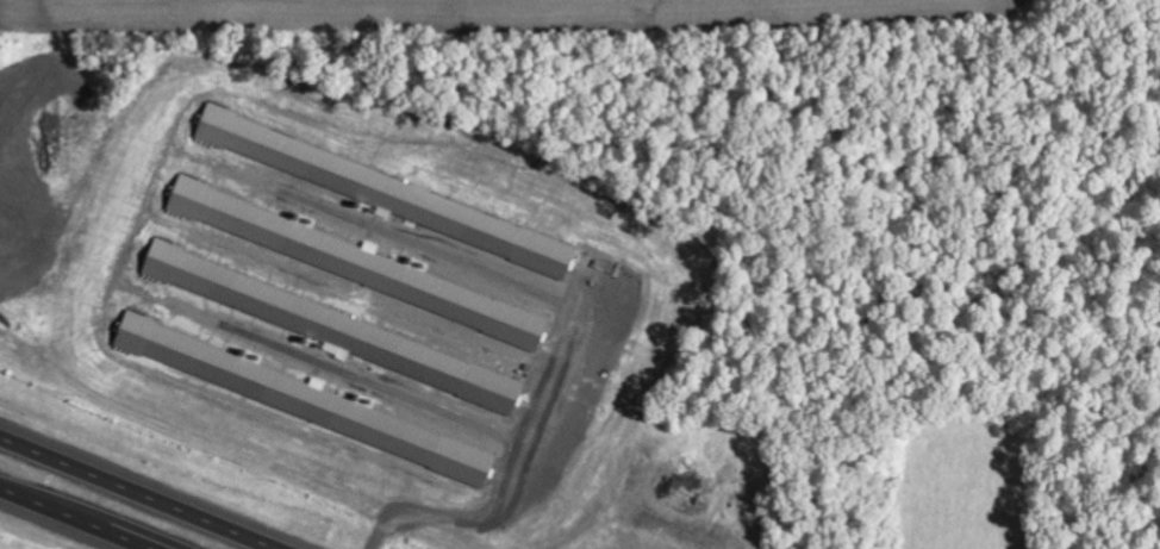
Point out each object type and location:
building: (472, 383)
building: (393, 436)
road: (141, 492)
road: (82, 516)

